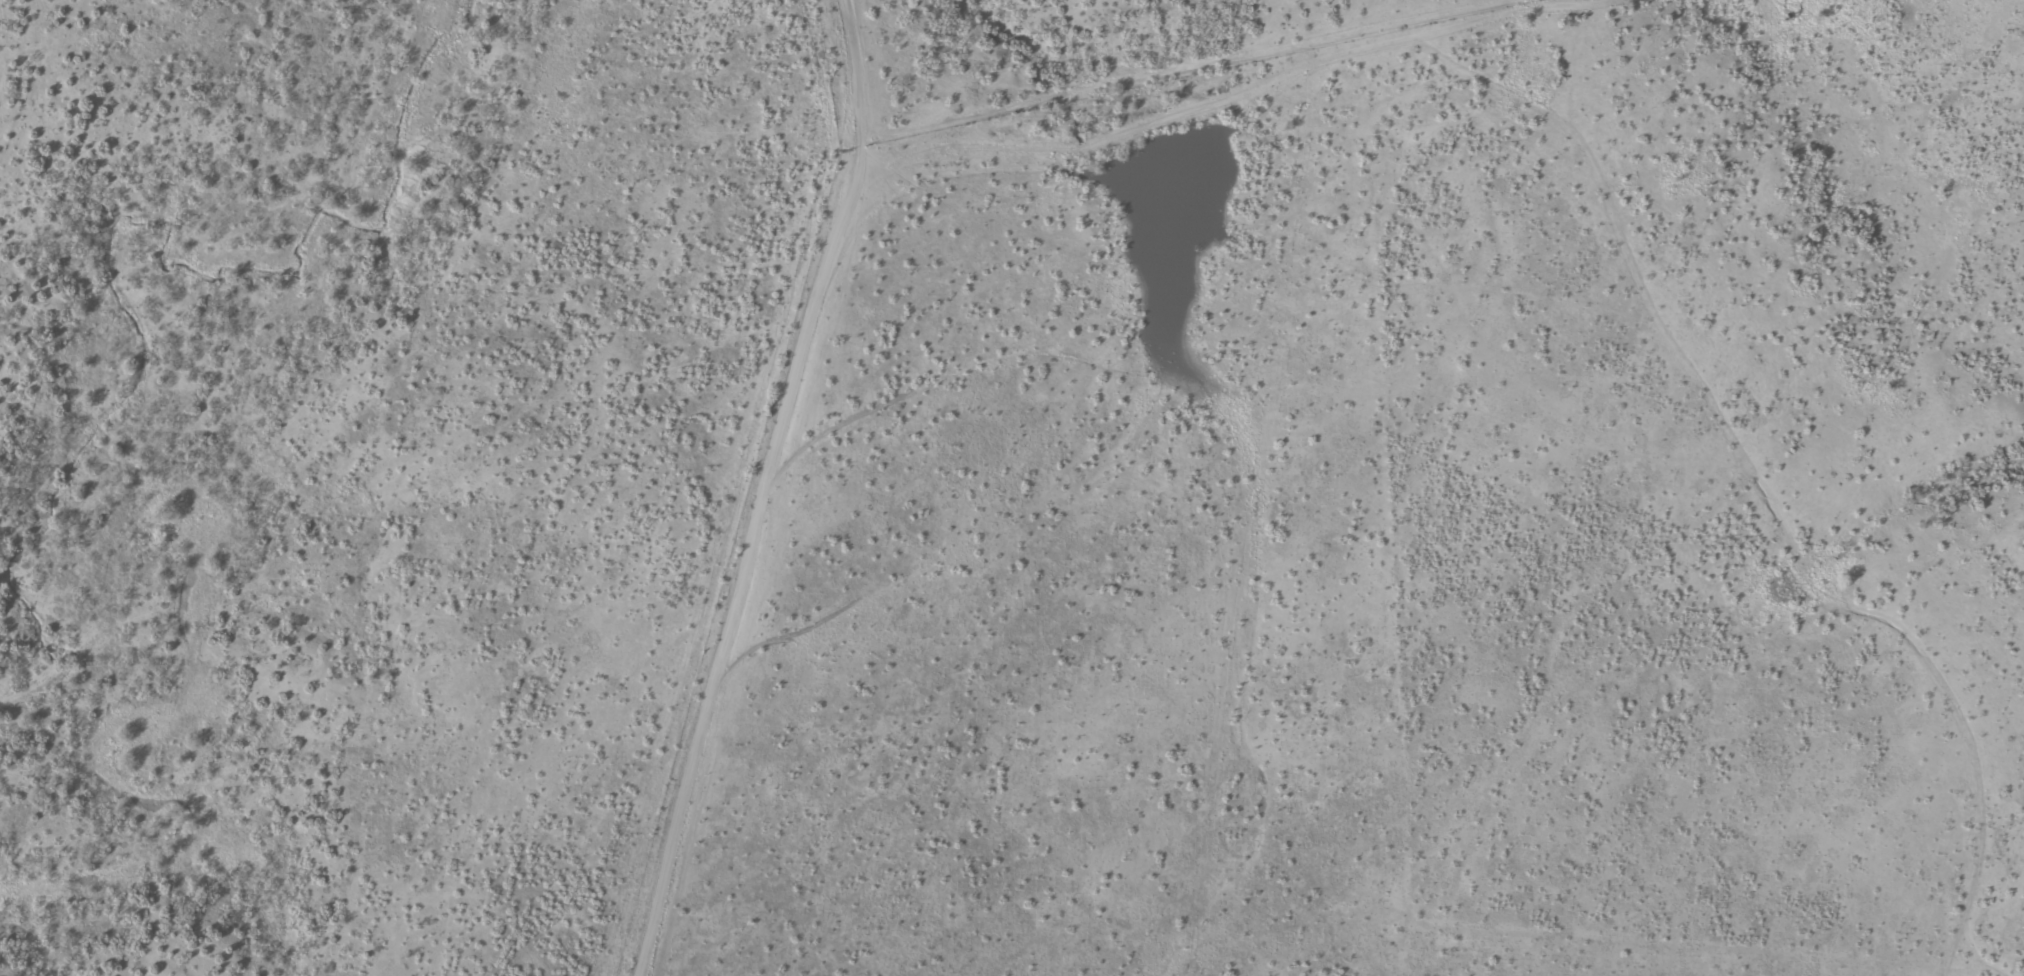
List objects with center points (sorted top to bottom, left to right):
road: (764, 490)

